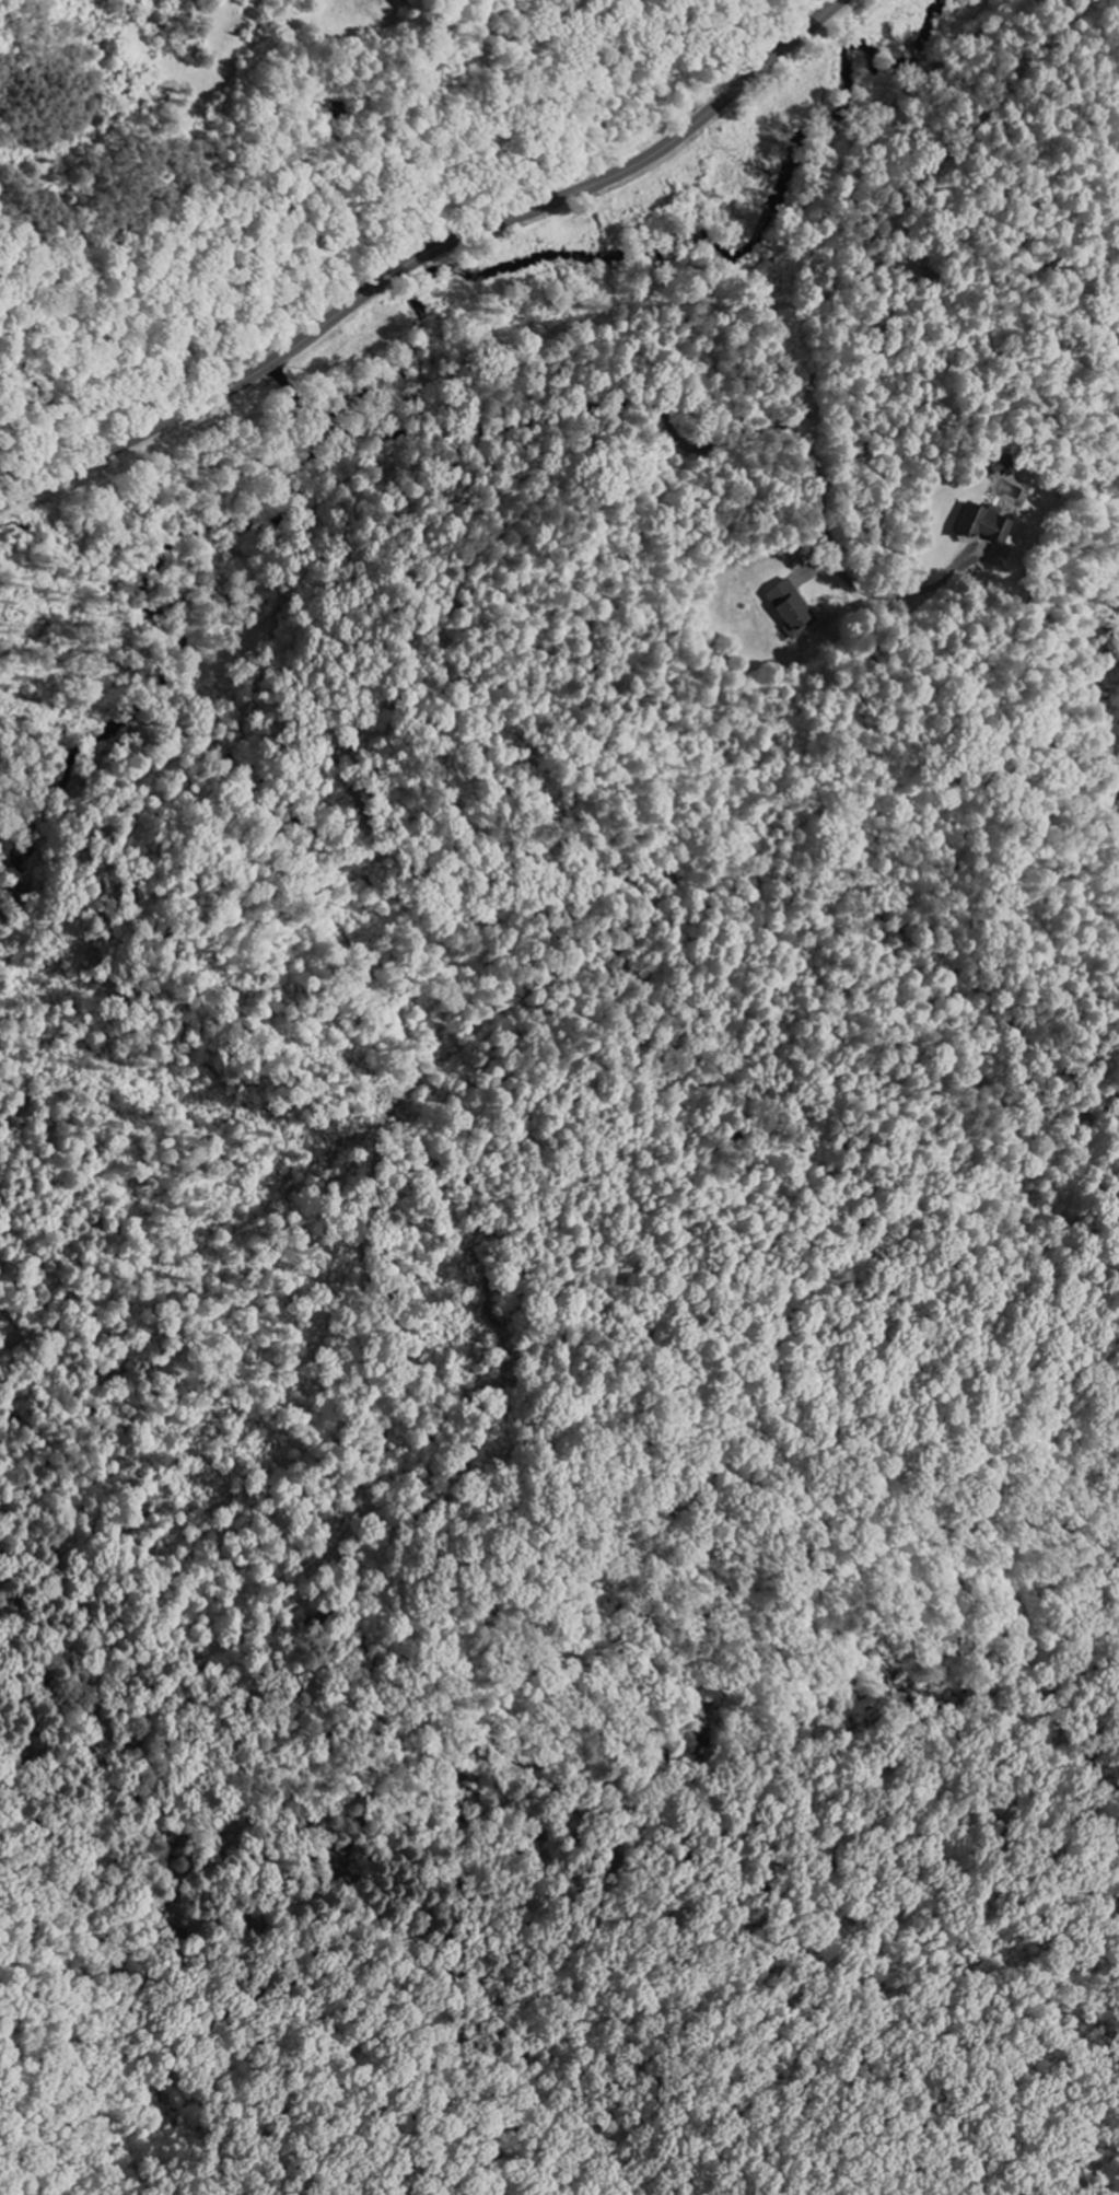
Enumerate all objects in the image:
road: (424, 256)
road: (424, 431)
building: (987, 523)
building: (789, 606)

